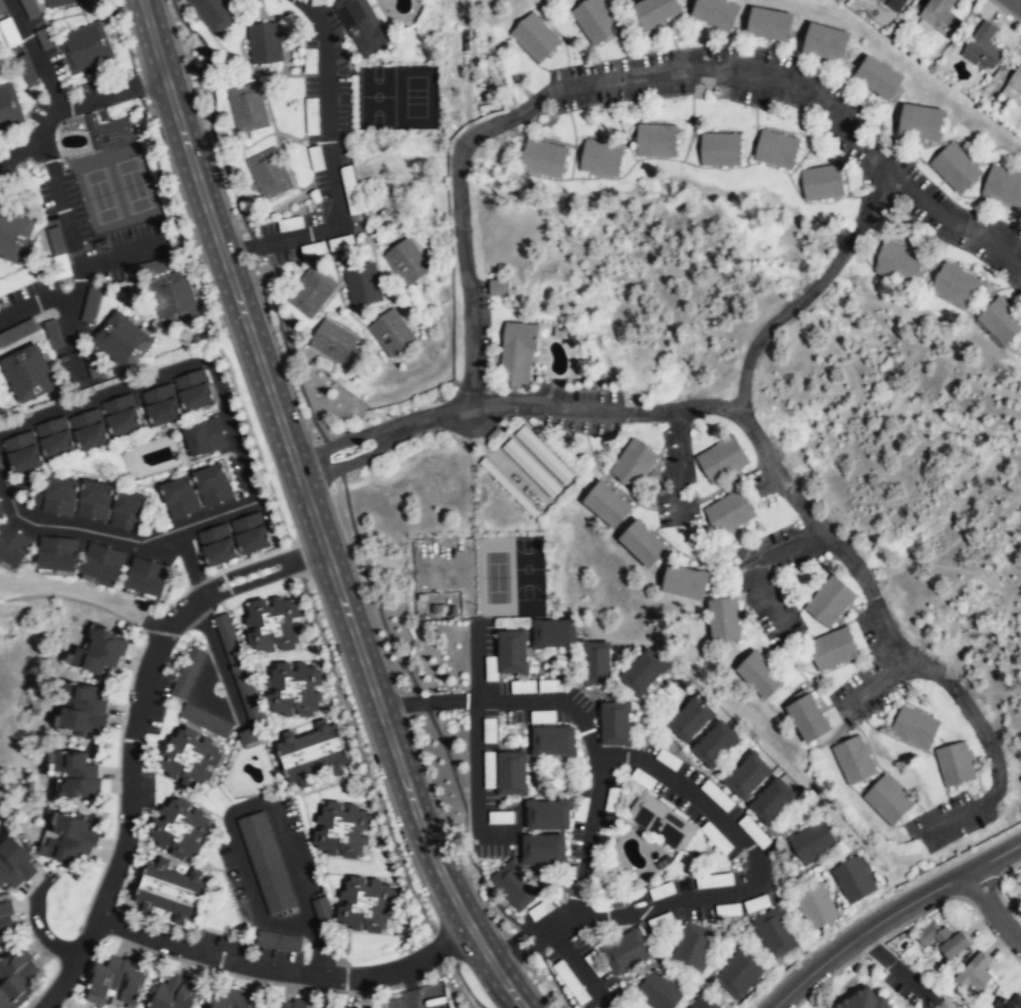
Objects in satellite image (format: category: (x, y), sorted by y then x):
road: (1019, 0)
road: (143, 1)
building: (59, 2)
building: (900, 2)
building: (31, 8)
street lamp: (119, 11)
building: (655, 11)
building: (215, 13)
building: (716, 13)
building: (939, 16)
building: (594, 20)
building: (360, 25)
building: (770, 25)
road: (28, 36)
building: (535, 37)
building: (264, 42)
building: (825, 43)
building: (85, 47)
building: (982, 48)
road: (738, 71)
building: (878, 77)
building: (1015, 84)
road: (134, 85)
road: (54, 90)
building: (9, 106)
building: (248, 107)
street lamp: (147, 110)
road: (48, 122)
building: (920, 122)
park: (75, 123)
building: (110, 131)
building: (655, 141)
road: (329, 143)
building: (720, 150)
building: (776, 150)
road: (458, 159)
building: (543, 159)
building: (601, 159)
building: (955, 169)
building: (269, 173)
building: (821, 183)
park: (115, 186)
building: (1002, 186)
road: (874, 203)
street lamp: (181, 210)
road: (954, 223)
building: (14, 235)
road: (245, 249)
road: (124, 255)
road: (77, 257)
building: (406, 261)
building: (898, 262)
building: (362, 285)
building: (955, 286)
building: (495, 287)
building: (311, 293)
building: (173, 297)
road: (36, 304)
building: (92, 304)
road: (785, 313)
building: (1000, 322)
building: (391, 333)
building: (14, 334)
building: (122, 340)
road: (469, 341)
building: (332, 342)
building: (518, 354)
building: (96, 366)
building: (28, 373)
building: (193, 388)
street lamp: (245, 402)
building: (162, 404)
road: (571, 406)
road: (685, 409)
building: (121, 414)
road: (402, 426)
building: (89, 428)
road: (752, 435)
building: (55, 436)
building: (205, 436)
building: (22, 450)
building: (545, 455)
building: (722, 460)
road: (676, 463)
building: (633, 465)
road: (245, 469)
building: (530, 469)
road: (773, 473)
building: (213, 483)
building: (60, 494)
building: (180, 496)
building: (95, 498)
street lamp: (278, 498)
building: (607, 505)
road: (801, 506)
building: (128, 509)
road: (311, 512)
building: (1, 513)
building: (729, 513)
building: (251, 532)
building: (643, 543)
building: (218, 544)
building: (12, 545)
building: (57, 552)
road: (313, 553)
road: (852, 559)
building: (102, 561)
road: (188, 562)
road: (758, 565)
road: (247, 569)
park: (530, 575)
building: (147, 576)
park: (497, 576)
building: (685, 581)
road: (252, 582)
road: (1, 584)
road: (85, 594)
street lamp: (312, 595)
building: (829, 601)
building: (724, 620)
road: (168, 624)
building: (275, 626)
road: (886, 630)
building: (554, 634)
building: (832, 649)
building: (100, 652)
building: (511, 653)
road: (220, 660)
park: (17, 662)
road: (898, 662)
building: (597, 664)
building: (238, 669)
building: (188, 672)
building: (644, 673)
building: (760, 675)
street lamp: (345, 689)
road: (864, 689)
building: (296, 692)
road: (197, 695)
building: (85, 711)
road: (583, 714)
building: (691, 719)
building: (807, 719)
building: (204, 720)
road: (978, 723)
building: (615, 724)
building: (914, 727)
building: (245, 735)
road: (131, 741)
building: (553, 742)
building: (716, 745)
building: (314, 754)
building: (190, 759)
building: (853, 760)
building: (954, 764)
building: (511, 775)
building: (77, 776)
building: (748, 777)
street lamp: (378, 785)
building: (888, 800)
building: (774, 803)
road: (237, 809)
building: (547, 816)
road: (949, 818)
building: (661, 822)
building: (182, 830)
building: (344, 831)
building: (69, 839)
building: (811, 843)
road: (287, 850)
building: (266, 863)
building: (15, 866)
road: (758, 868)
road: (114, 870)
building: (508, 876)
road: (248, 878)
street lamp: (414, 881)
building: (853, 881)
building: (169, 890)
building: (367, 904)
road: (877, 905)
road: (995, 905)
building: (814, 907)
road: (890, 915)
building: (5, 916)
road: (35, 922)
road: (288, 924)
building: (774, 933)
road: (158, 938)
road: (316, 938)
road: (532, 938)
building: (942, 939)
building: (280, 942)
building: (692, 948)
building: (625, 952)
road: (72, 965)
road: (261, 966)
street lamp: (465, 970)
road: (392, 971)
road: (899, 971)
building: (738, 975)
building: (975, 975)
building: (18, 979)
building: (113, 981)
road: (410, 987)
building: (172, 992)
building: (659, 992)
parking lot: (417, 997)
building: (227, 1000)
building: (865, 1001)
building: (1008, 1002)
building: (290, 1003)
building: (703, 1003)
building: (611, 1006)
building: (617, 1006)
building: (341, 1007)

